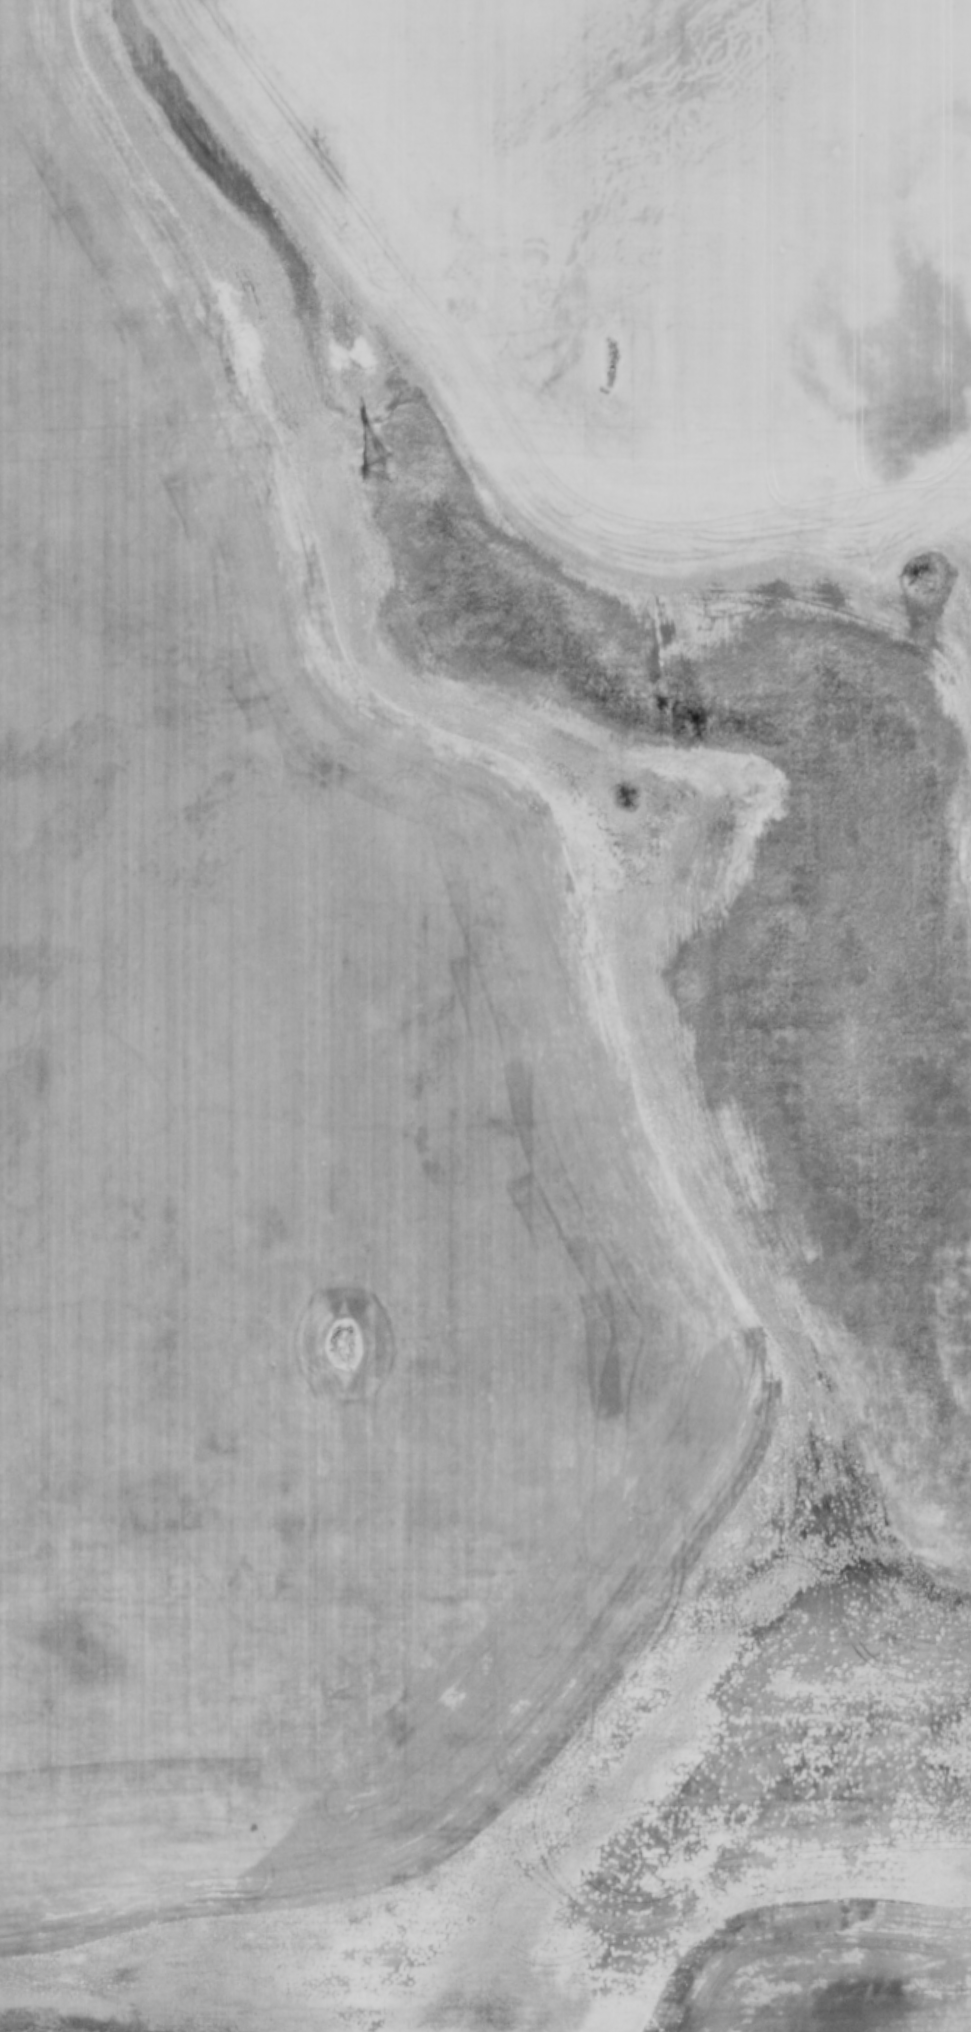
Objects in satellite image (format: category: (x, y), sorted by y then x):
power tower: (386, 465)

